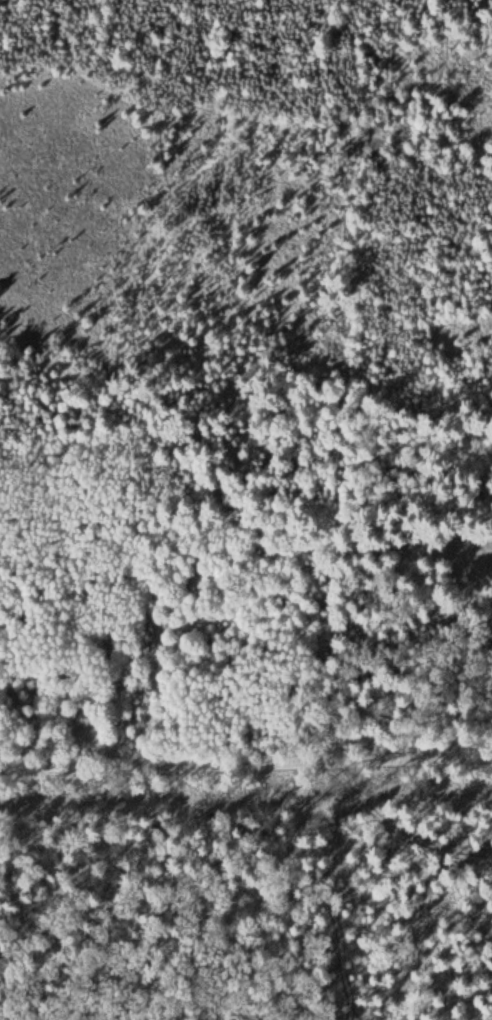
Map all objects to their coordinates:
road: (246, 776)
road: (380, 794)

